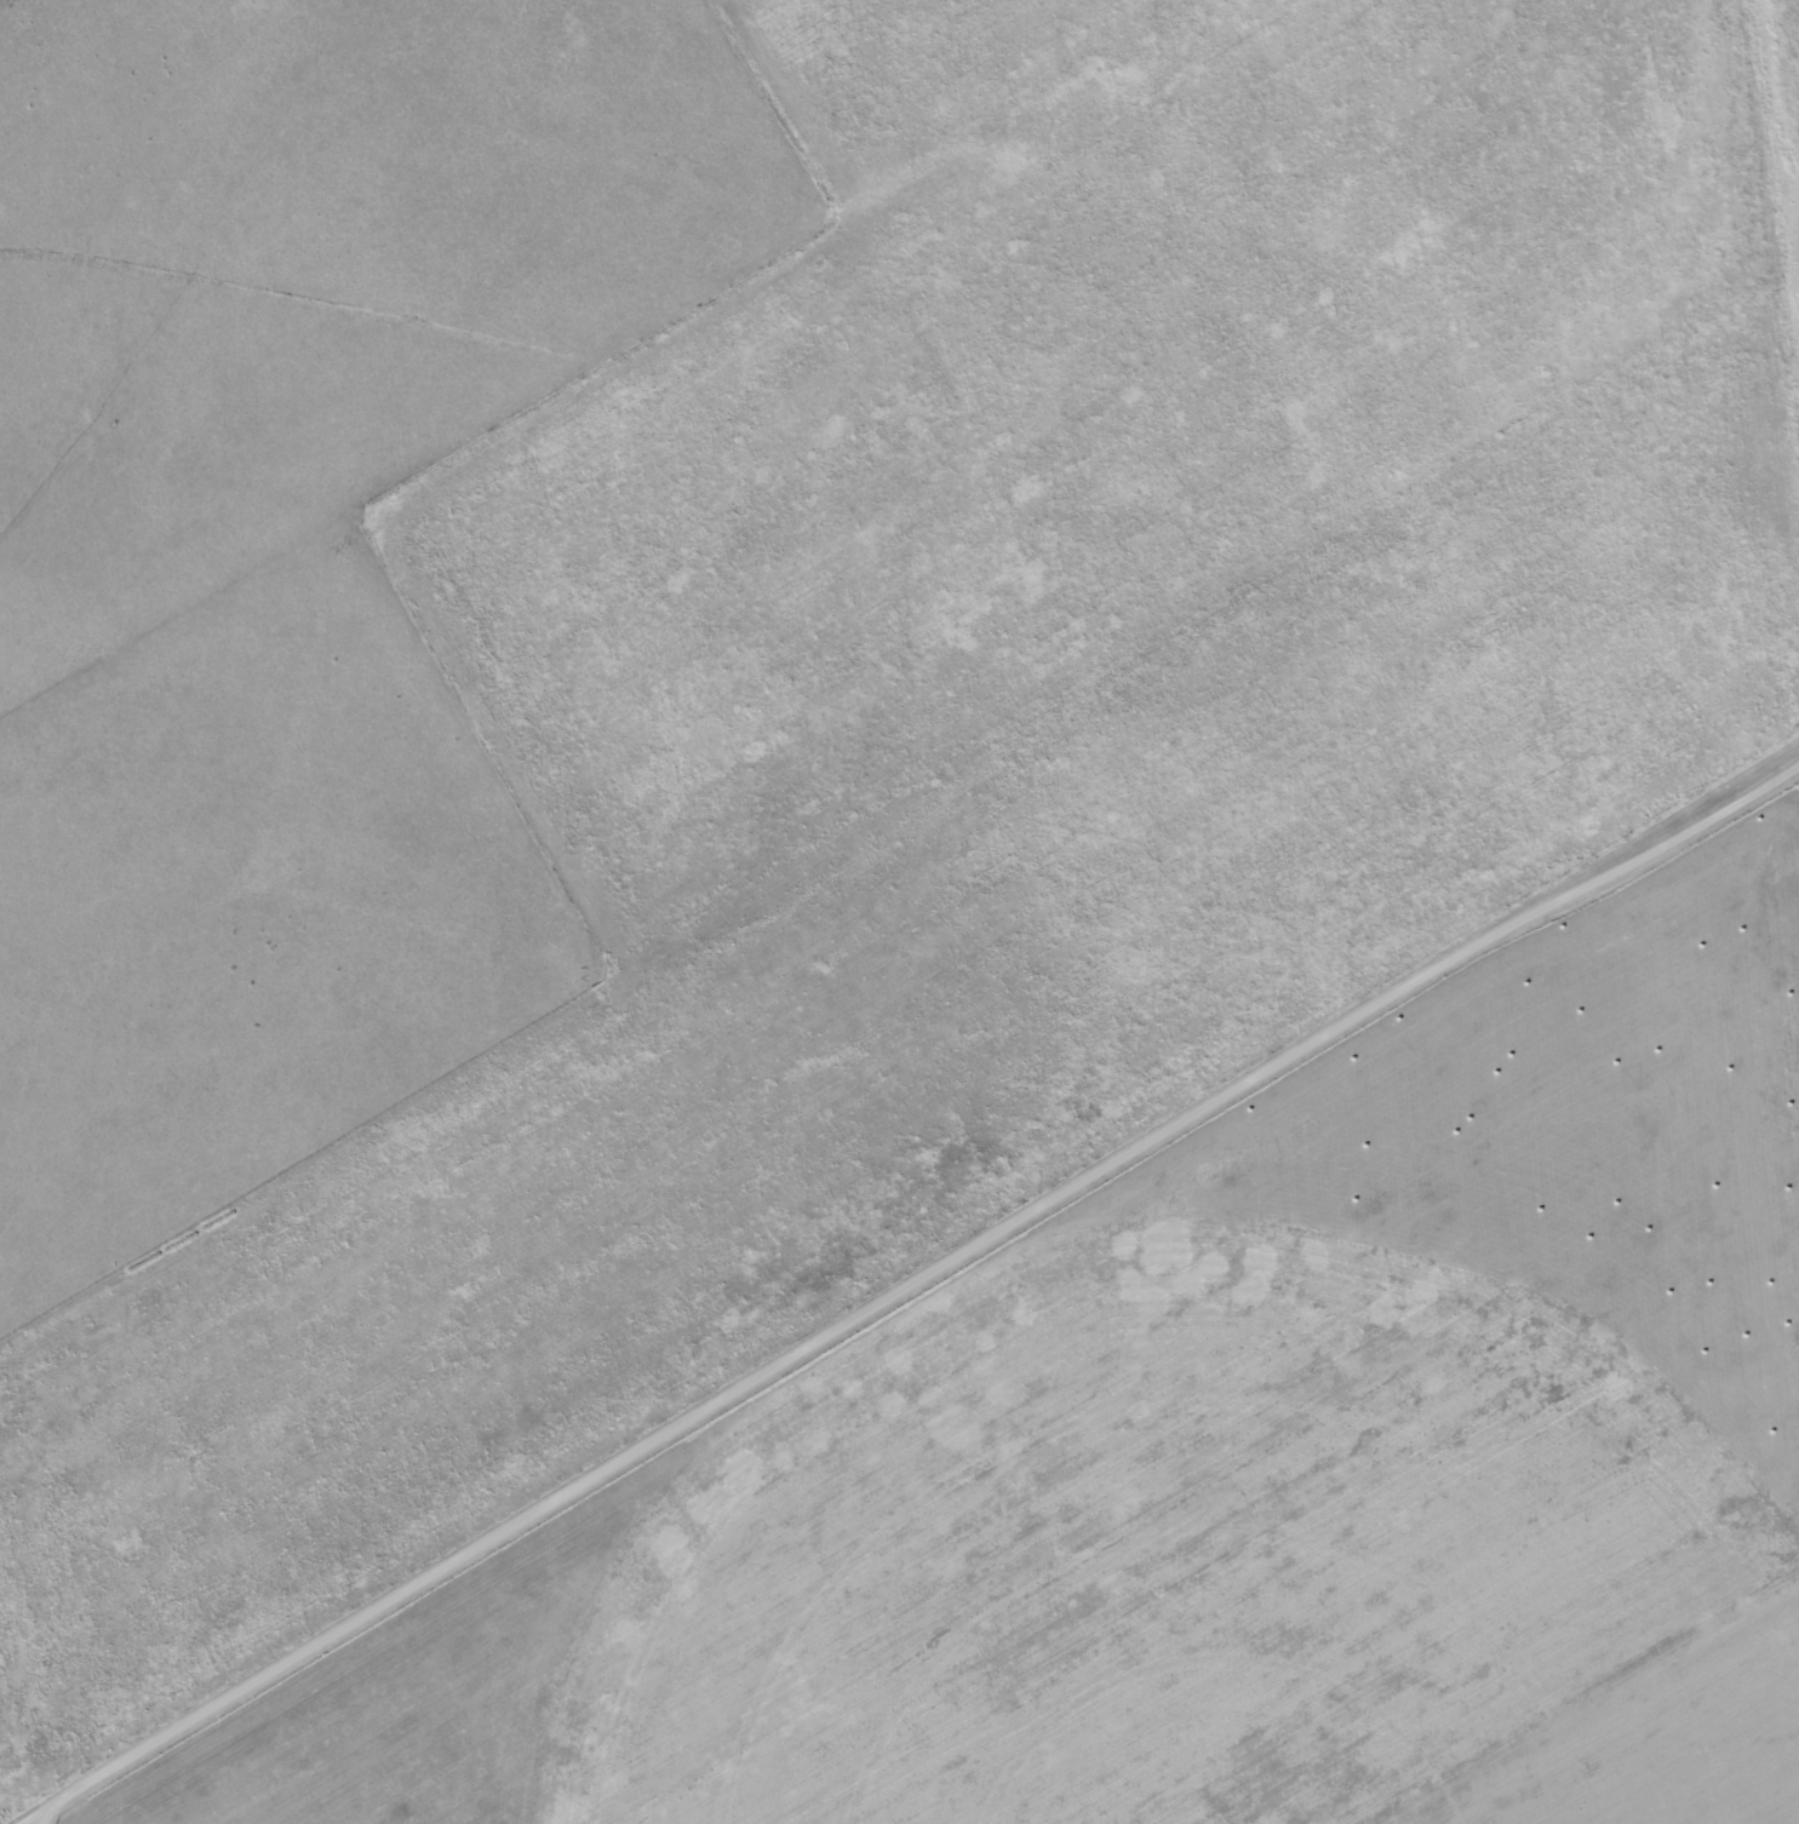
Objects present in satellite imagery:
road: (906, 1289)

